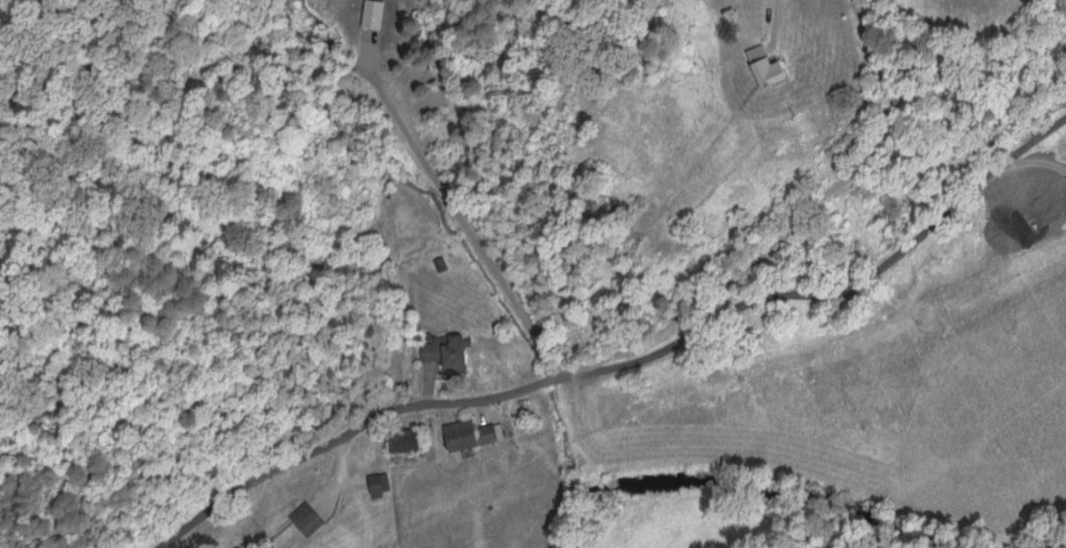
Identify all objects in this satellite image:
building: (770, 64)
road: (917, 110)
building: (440, 261)
building: (448, 350)
road: (619, 355)
building: (473, 431)
building: (412, 442)
building: (380, 483)
building: (307, 516)
building: (240, 546)

